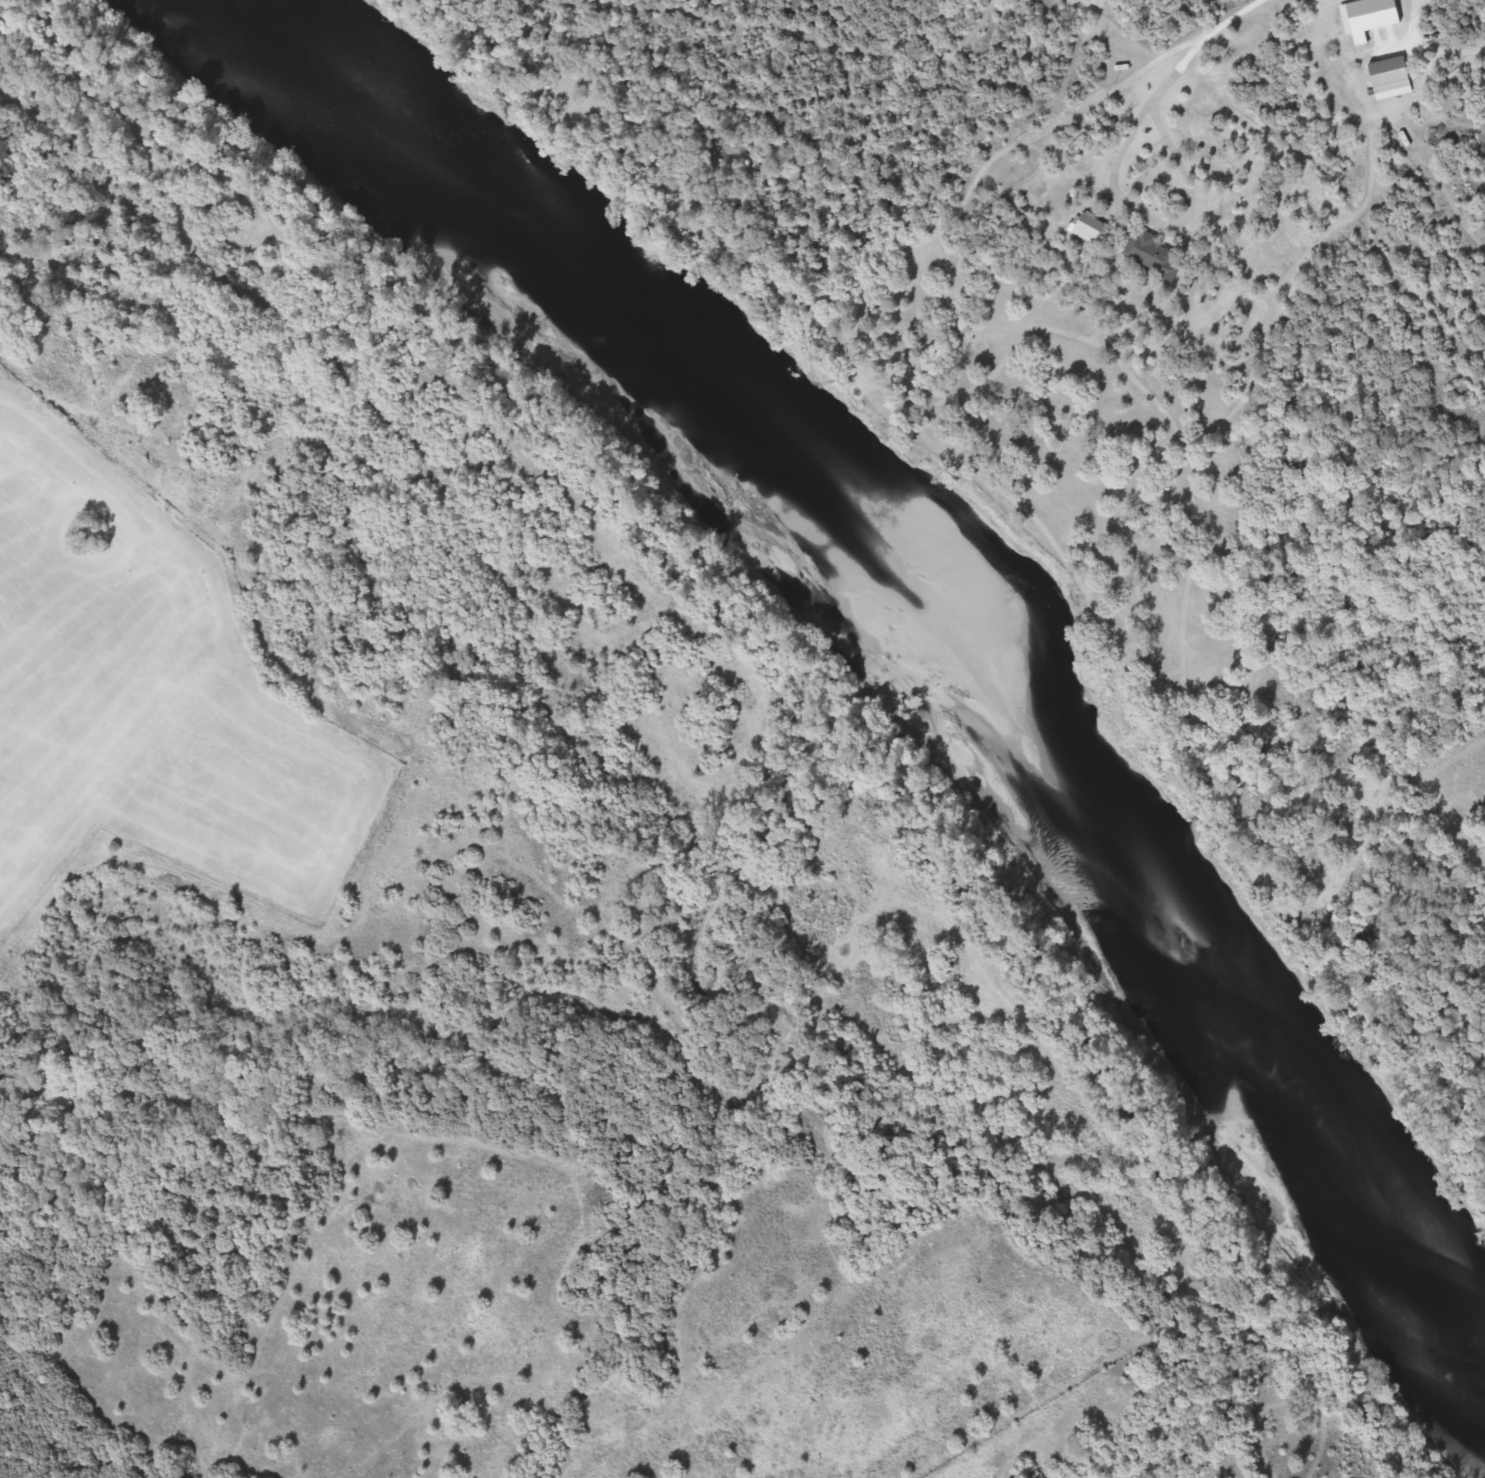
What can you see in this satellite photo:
road: (1195, 44)
building: (1391, 75)
road: (1158, 223)
building: (1092, 229)
building: (1154, 255)
river: (957, 614)

